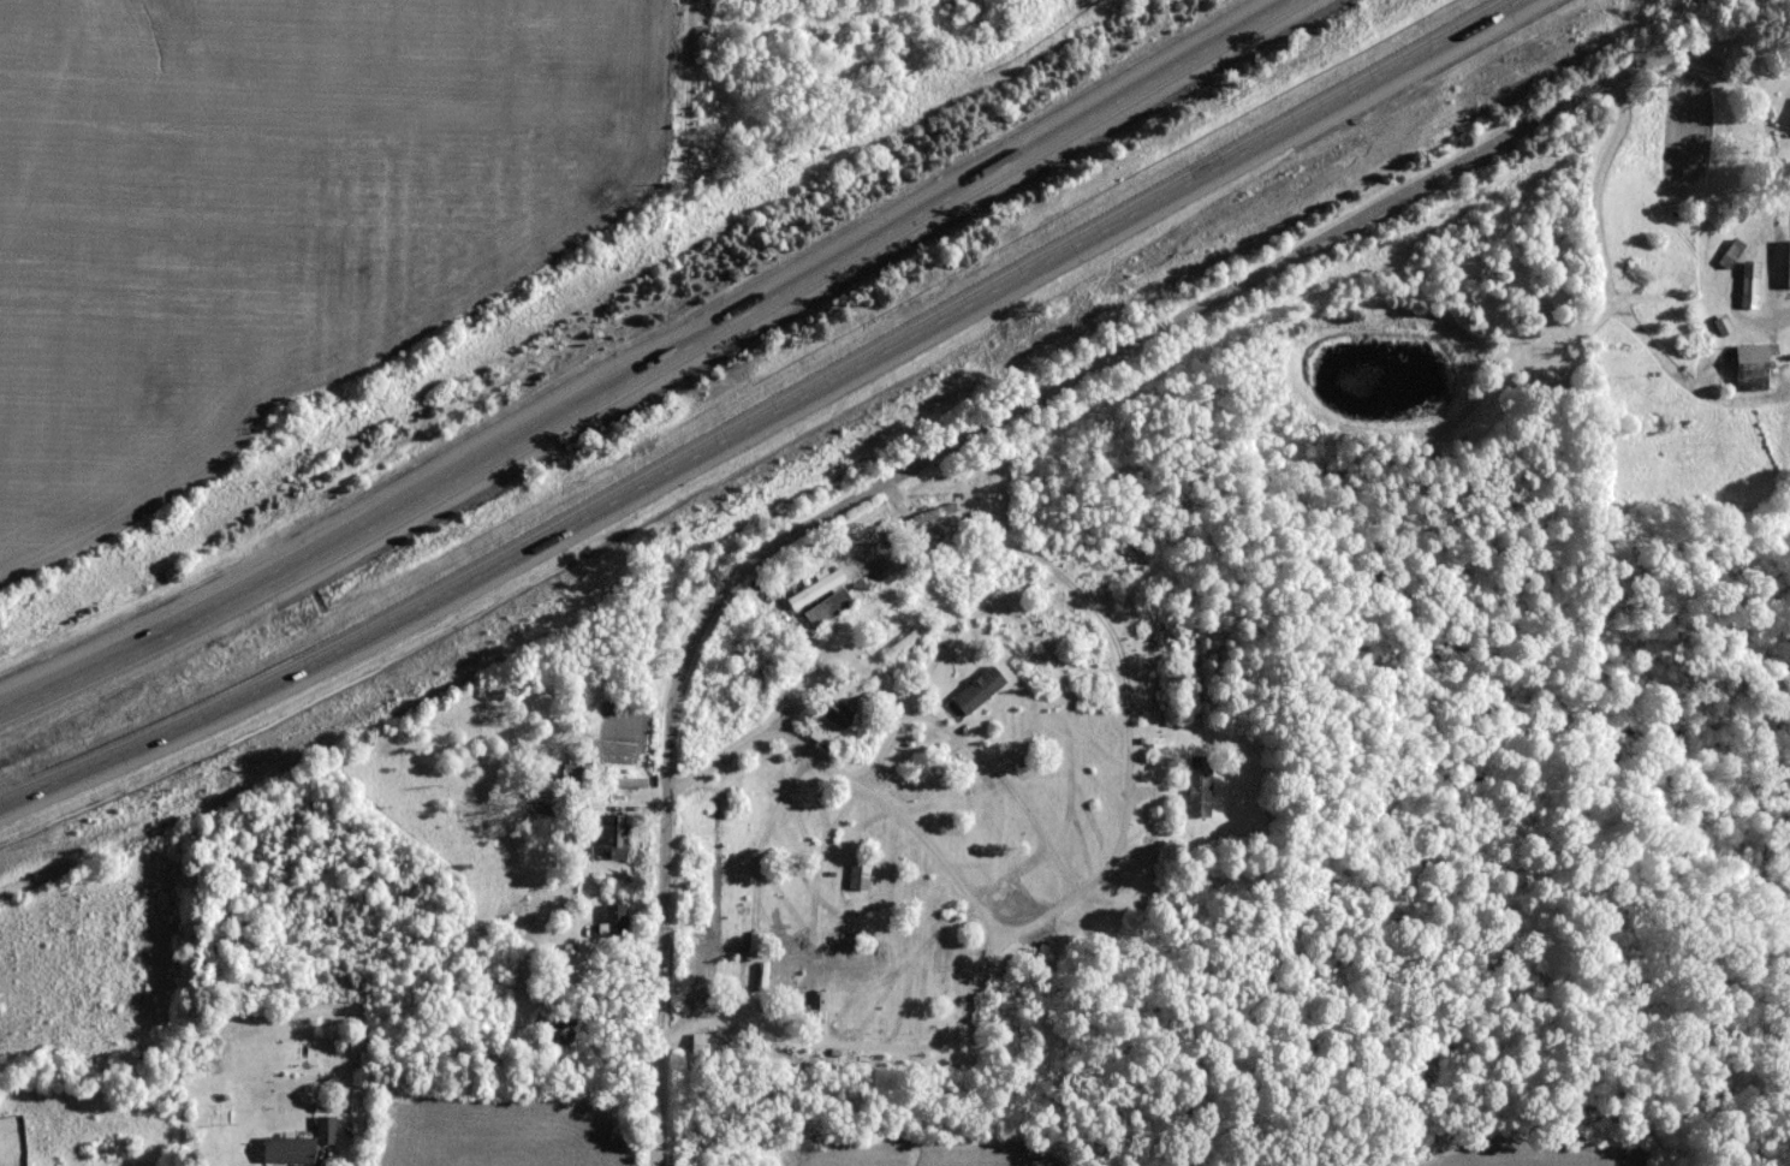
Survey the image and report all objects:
building: (1786, 266)
road: (1768, 286)
building: (1748, 287)
road: (653, 365)
building: (1752, 367)
road: (1049, 389)
road: (763, 414)
building: (930, 534)
building: (1122, 548)
building: (813, 589)
building: (826, 609)
building: (904, 643)
road: (826, 644)
building: (835, 714)
road: (969, 748)
building: (573, 775)
building: (623, 784)
building: (1197, 787)
road: (899, 815)
building: (607, 838)
building: (856, 876)
building: (614, 922)
road: (998, 946)
building: (558, 1030)
building: (709, 1046)
building: (297, 1144)

